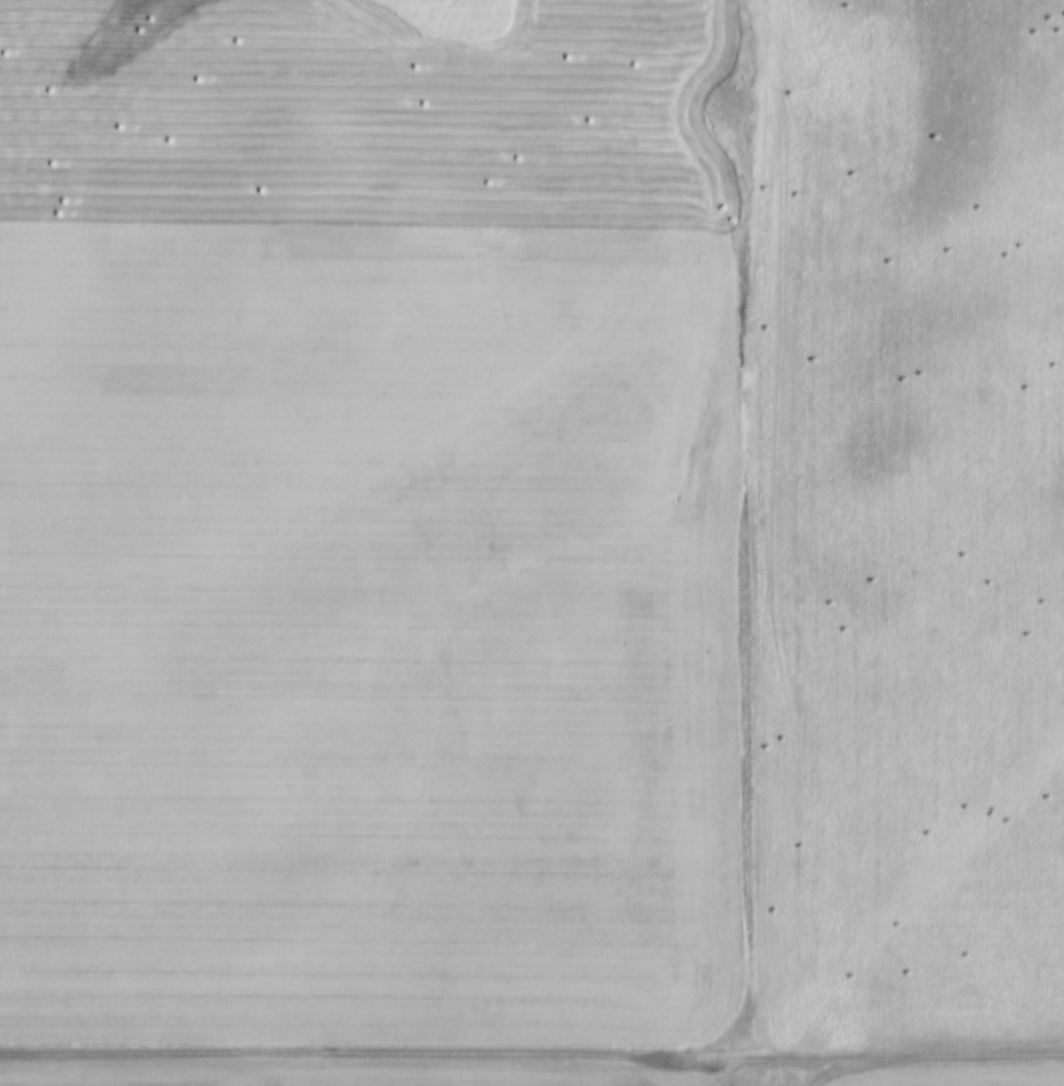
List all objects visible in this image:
road: (532, 1051)
road: (765, 1069)

